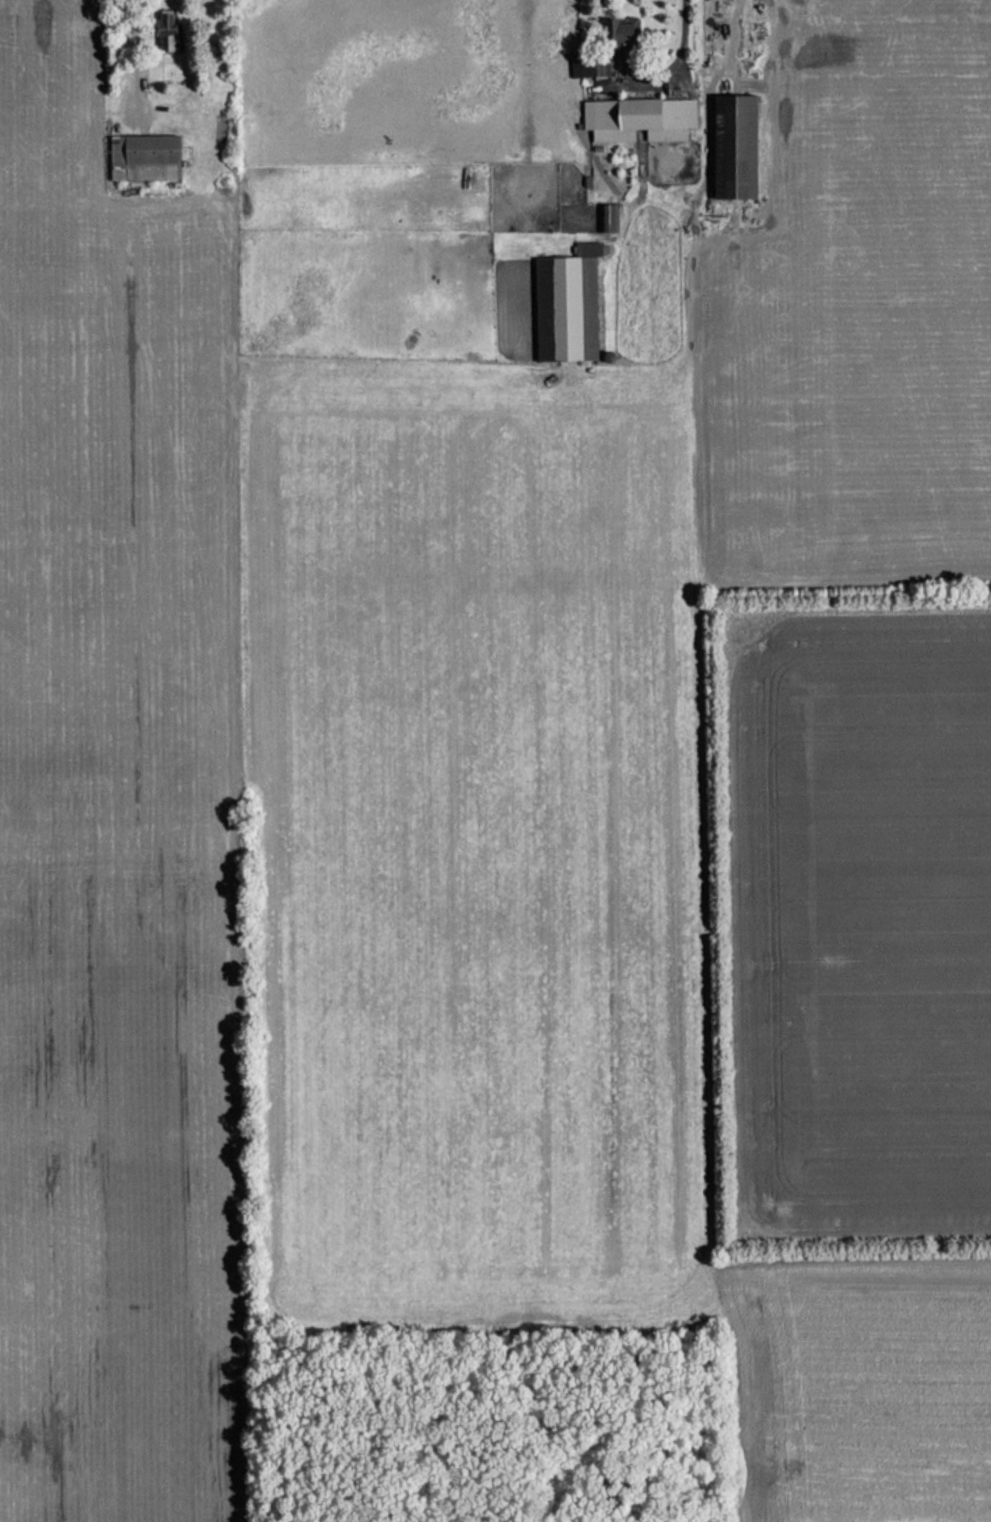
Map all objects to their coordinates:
building: (163, 34)
building: (616, 35)
road: (682, 40)
road: (136, 43)
building: (584, 66)
building: (635, 120)
building: (730, 148)
building: (141, 158)
building: (604, 219)
building: (565, 304)
crop: (860, 312)
crop: (119, 828)
crop: (471, 842)
crop: (852, 917)
crop: (859, 1388)

